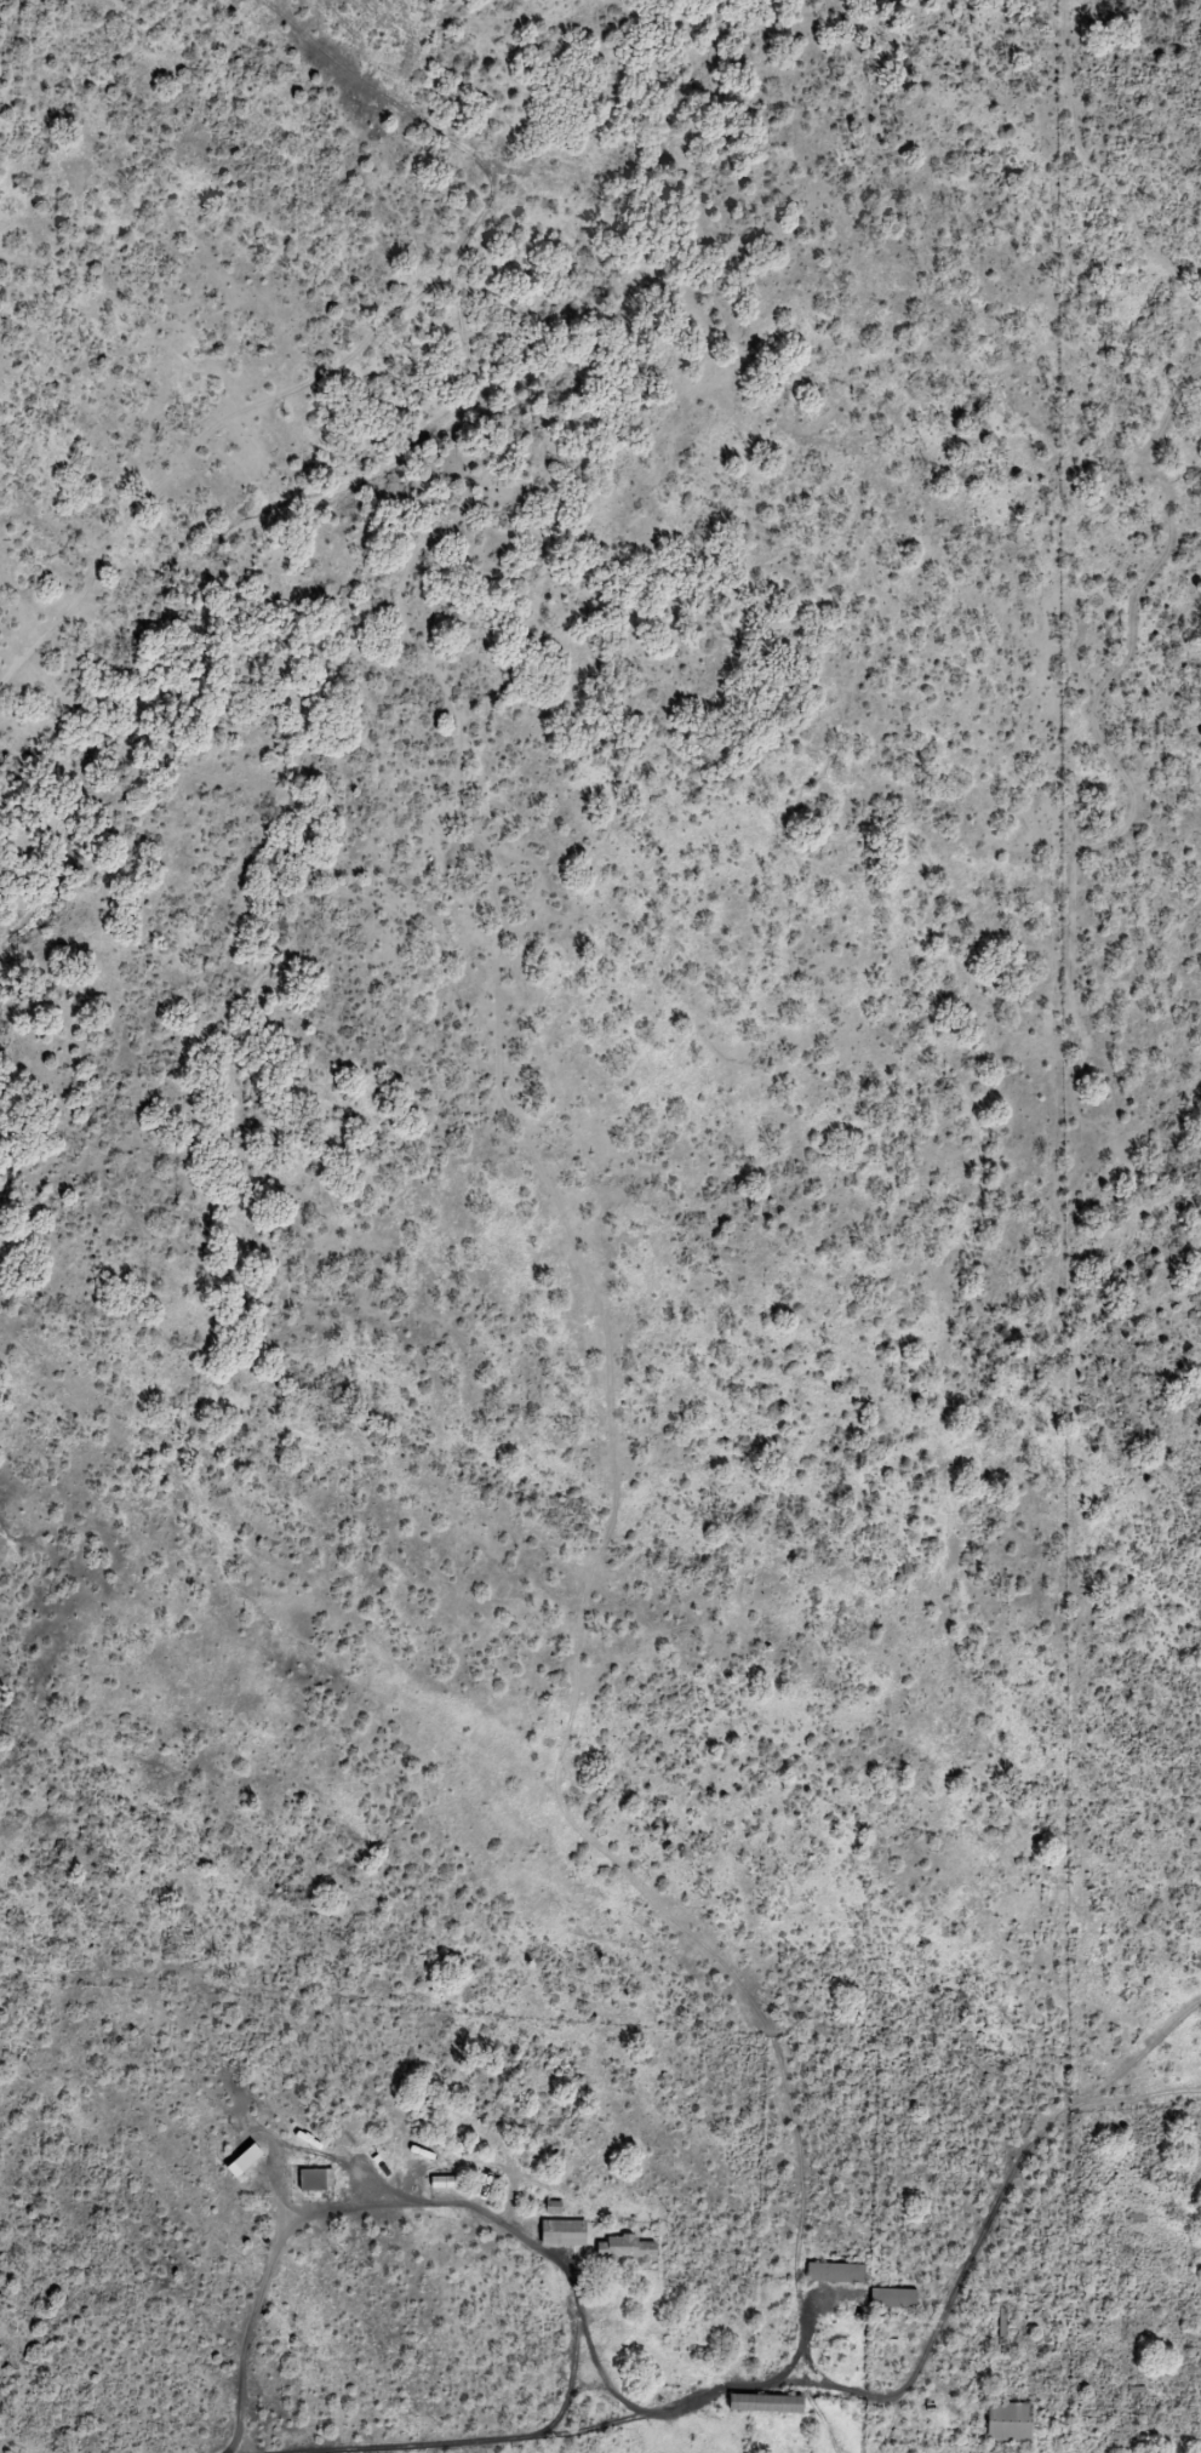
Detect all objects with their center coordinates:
building: (314, 2179)
building: (561, 2232)
building: (625, 2248)
building: (834, 2272)
building: (892, 2298)
building: (764, 2403)
building: (1008, 2421)

